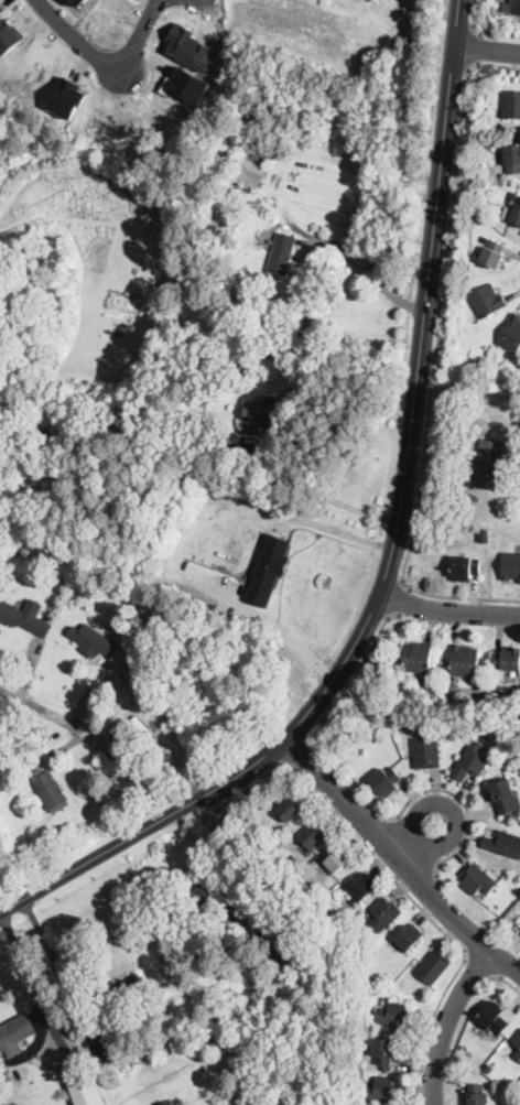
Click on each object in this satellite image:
building: (79, 2)
road: (213, 6)
building: (512, 7)
building: (1, 11)
road: (474, 20)
road: (487, 50)
road: (476, 51)
road: (107, 65)
building: (186, 85)
building: (67, 98)
building: (511, 105)
building: (489, 143)
building: (512, 159)
building: (251, 167)
building: (513, 195)
building: (512, 214)
building: (281, 253)
building: (495, 254)
building: (488, 301)
building: (512, 334)
road: (436, 360)
building: (262, 411)
building: (490, 465)
road: (329, 498)
building: (484, 533)
building: (64, 544)
road: (392, 550)
building: (511, 566)
building: (466, 568)
building: (269, 571)
building: (100, 581)
road: (402, 600)
road: (448, 611)
building: (20, 614)
building: (95, 641)
building: (419, 656)
building: (508, 658)
building: (465, 659)
road: (355, 680)
building: (64, 686)
building: (519, 698)
building: (423, 722)
building: (483, 739)
road: (104, 744)
road: (301, 751)
building: (427, 752)
building: (32, 758)
building: (470, 761)
building: (388, 780)
building: (51, 791)
building: (506, 797)
road: (463, 803)
road: (452, 809)
building: (291, 810)
road: (371, 828)
building: (314, 835)
building: (505, 844)
road: (399, 860)
building: (338, 862)
building: (477, 879)
building: (361, 886)
road: (402, 886)
building: (207, 891)
building: (289, 893)
building: (331, 914)
building: (384, 914)
building: (409, 939)
building: (283, 955)
building: (434, 967)
road: (478, 967)
road: (505, 981)
building: (124, 994)
road: (40, 998)
building: (397, 1016)
building: (218, 1019)
building: (494, 1019)
road: (447, 1023)
building: (15, 1032)
building: (517, 1040)
building: (386, 1051)
building: (102, 1053)
building: (518, 1054)
building: (489, 1069)
building: (383, 1091)
building: (89, 1092)
building: (478, 1096)

